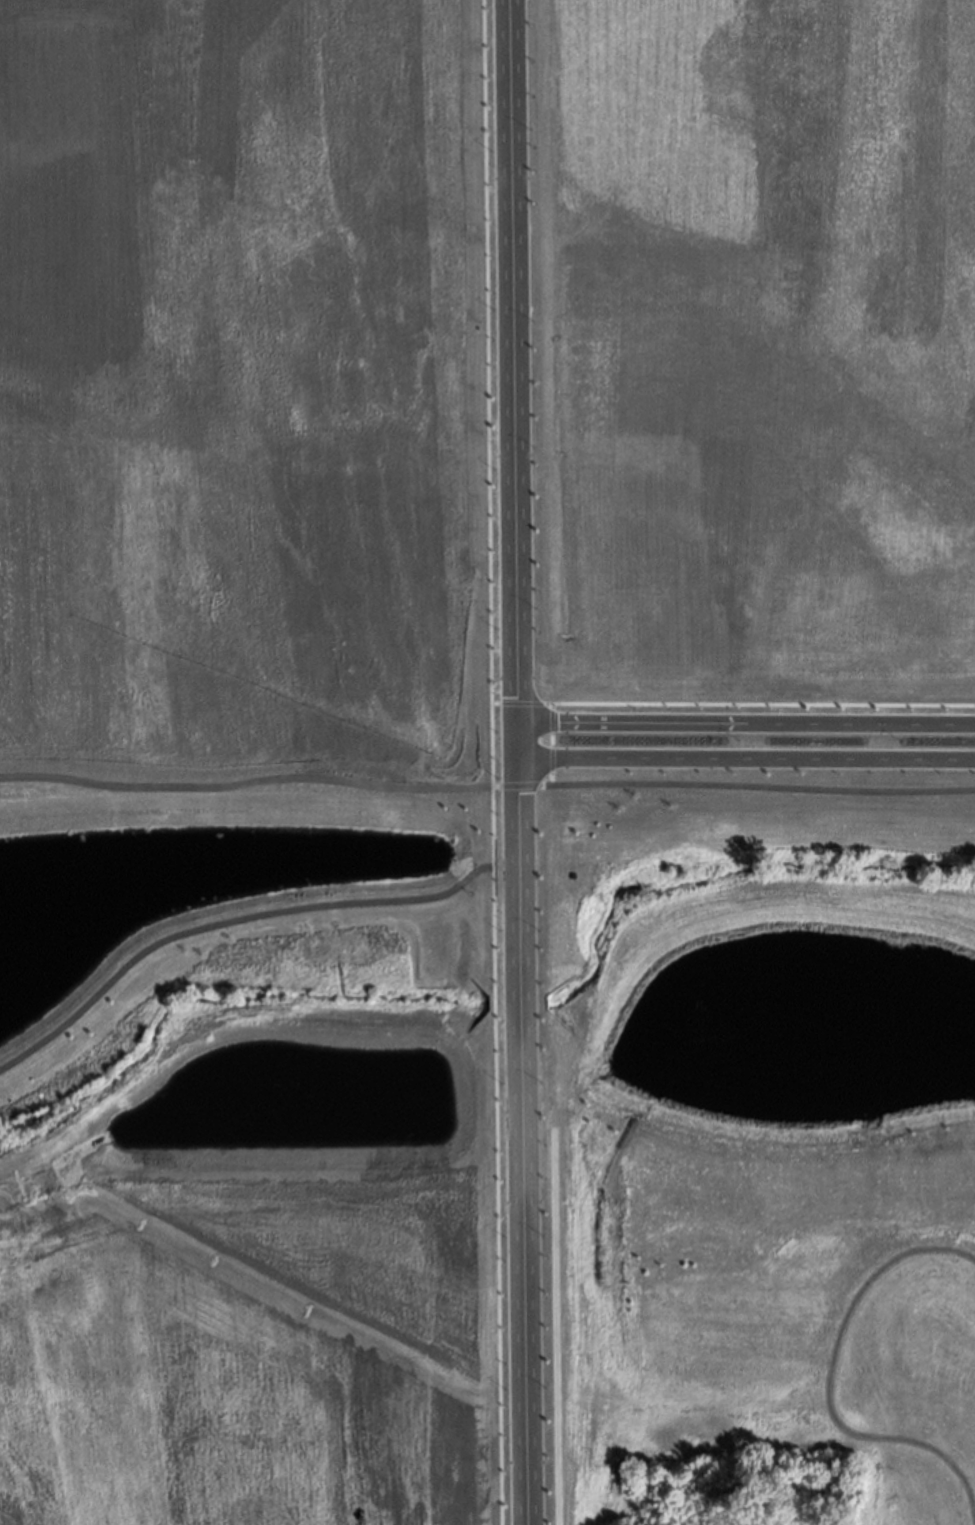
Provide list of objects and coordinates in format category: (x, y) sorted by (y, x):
road: (743, 724)
road: (744, 760)
road: (513, 762)
road: (682, 785)

